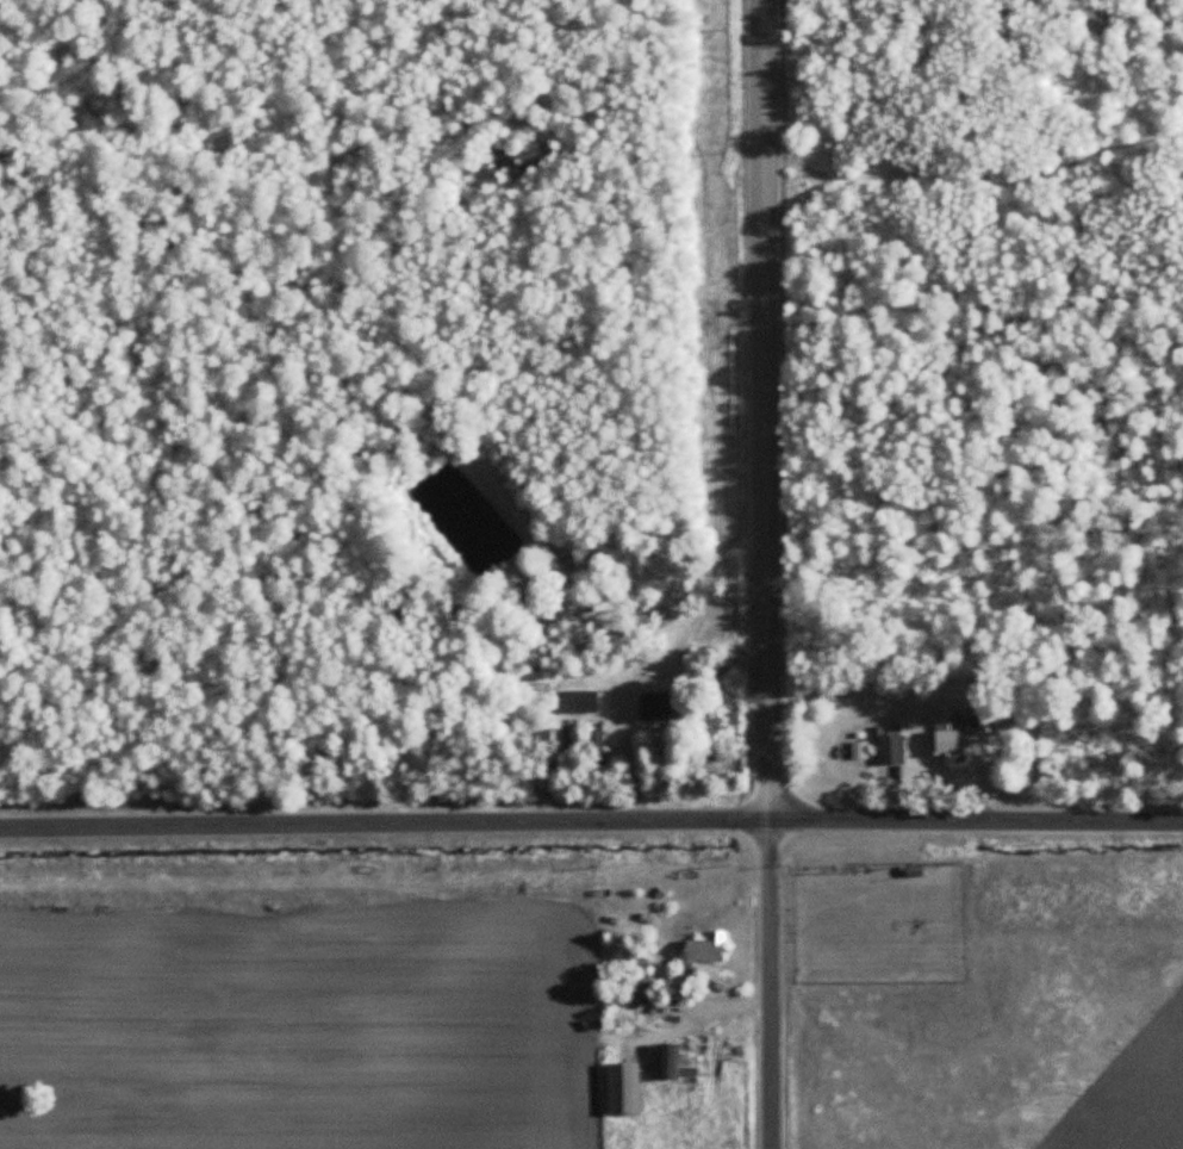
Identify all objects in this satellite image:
road: (764, 574)
building: (579, 702)
building: (662, 707)
building: (958, 731)
building: (594, 750)
building: (891, 752)
road: (591, 819)
building: (706, 949)
building: (639, 985)
building: (675, 1063)
building: (623, 1089)

